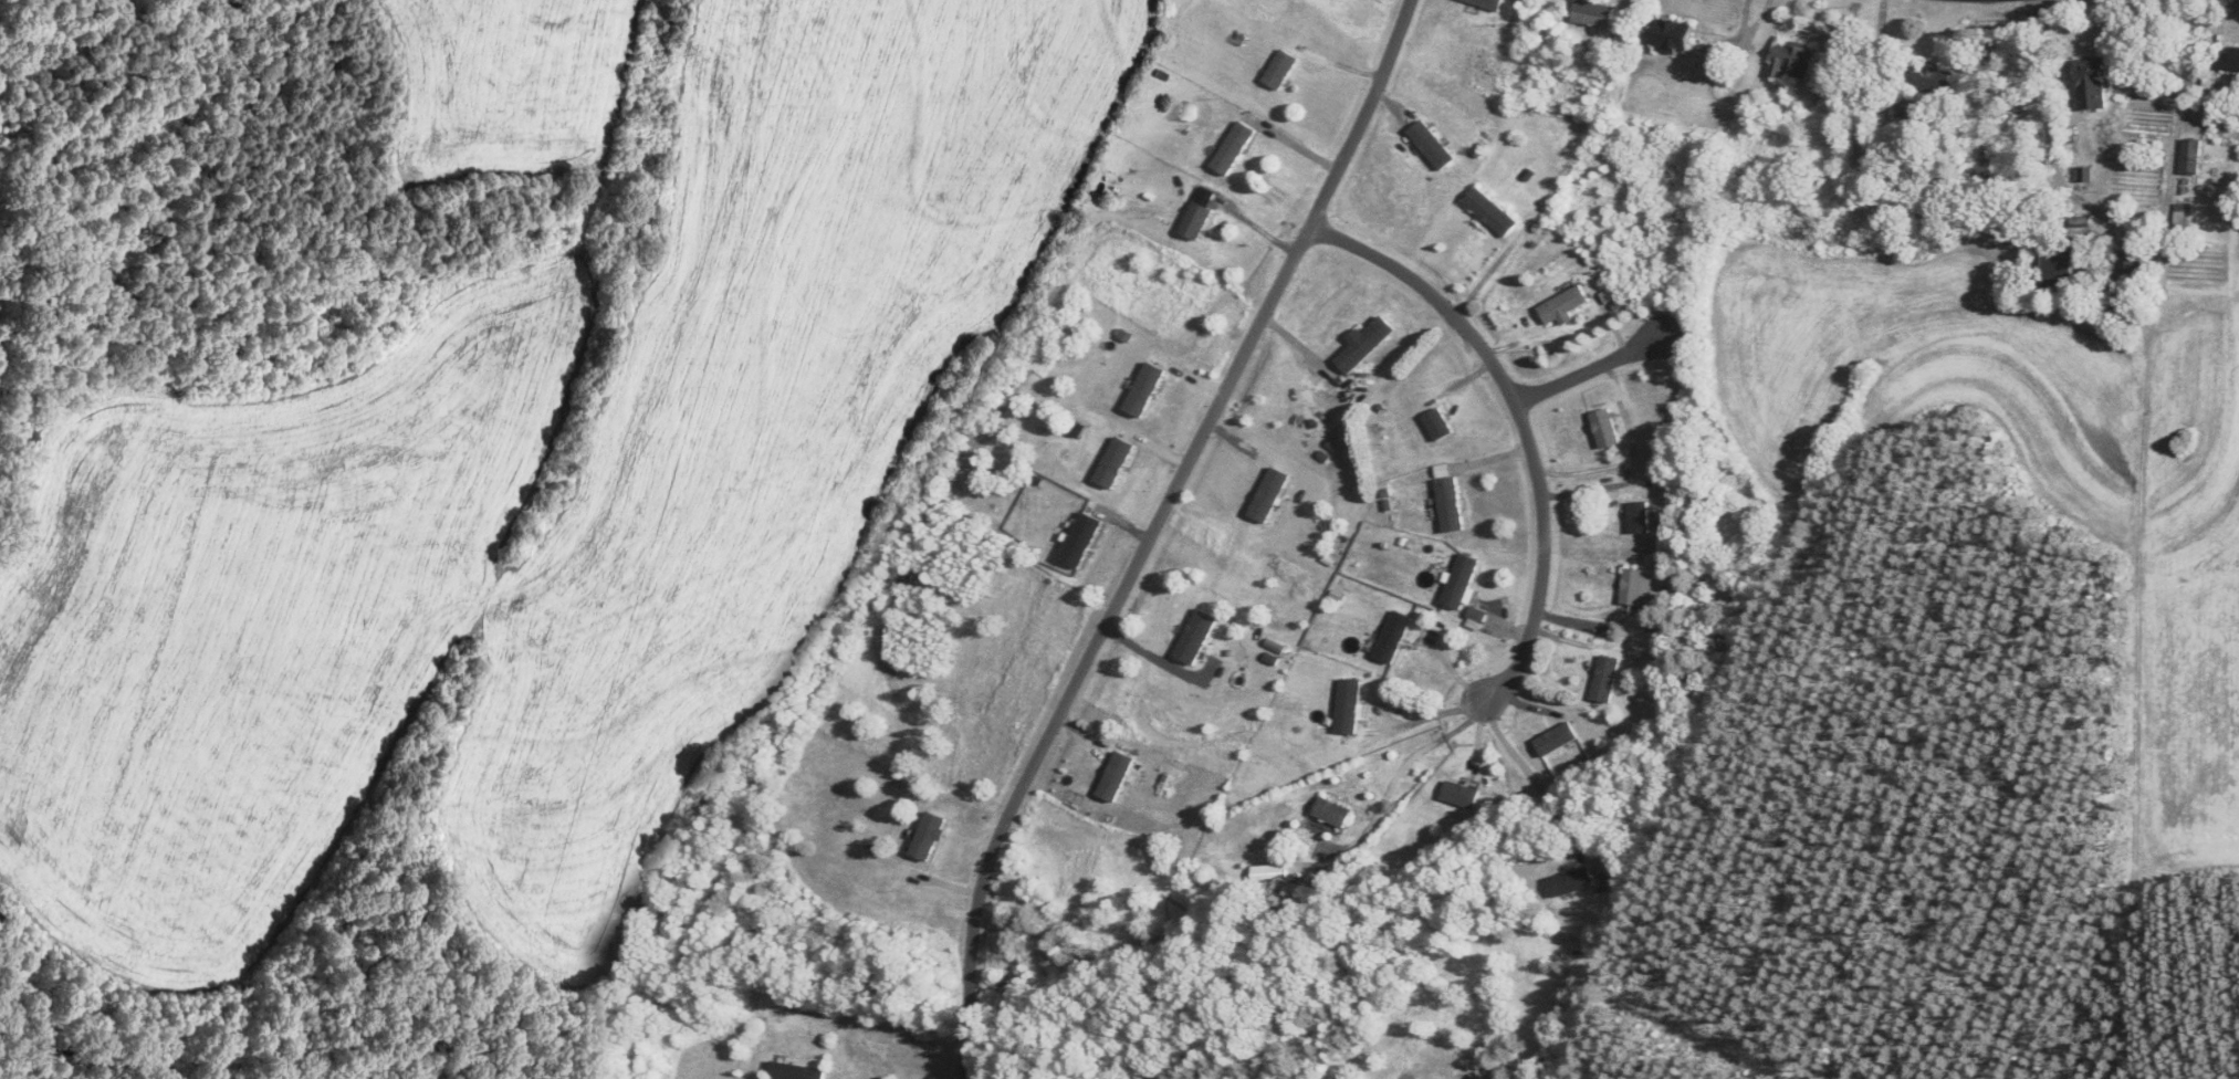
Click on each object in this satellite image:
building: (1487, 3)
building: (1593, 14)
building: (1671, 36)
building: (2226, 61)
building: (1791, 62)
building: (1280, 70)
building: (1926, 80)
building: (2091, 84)
building: (1431, 146)
building: (1233, 148)
road: (1347, 156)
building: (2190, 157)
building: (2214, 172)
building: (1490, 212)
building: (1195, 221)
building: (2135, 263)
building: (2058, 269)
building: (1563, 305)
building: (1360, 348)
road: (1591, 367)
road: (1523, 419)
building: (1437, 425)
building: (1604, 429)
building: (1450, 504)
building: (1638, 517)
building: (1461, 582)
building: (1632, 587)
building: (1195, 637)
building: (1718, 643)
building: (1605, 679)
road: (1084, 683)
building: (1348, 708)
road: (1434, 715)
road: (1414, 754)
road: (1545, 776)
building: (1116, 777)
building: (1332, 813)
building: (928, 837)
building: (1279, 873)
building: (1570, 882)
building: (795, 1071)

